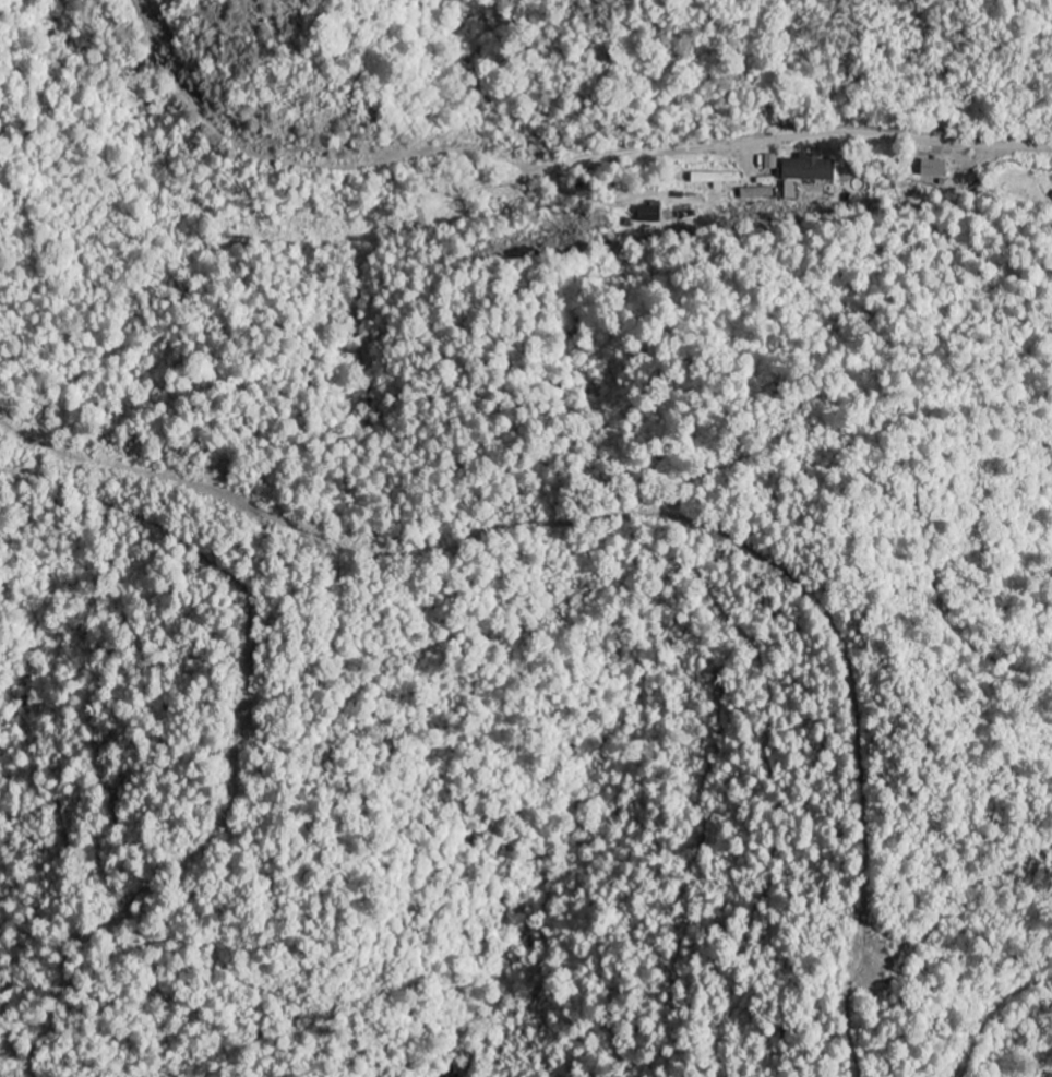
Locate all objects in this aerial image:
road: (810, 136)
building: (826, 152)
building: (811, 170)
building: (937, 170)
building: (718, 180)
building: (758, 193)
building: (653, 214)

